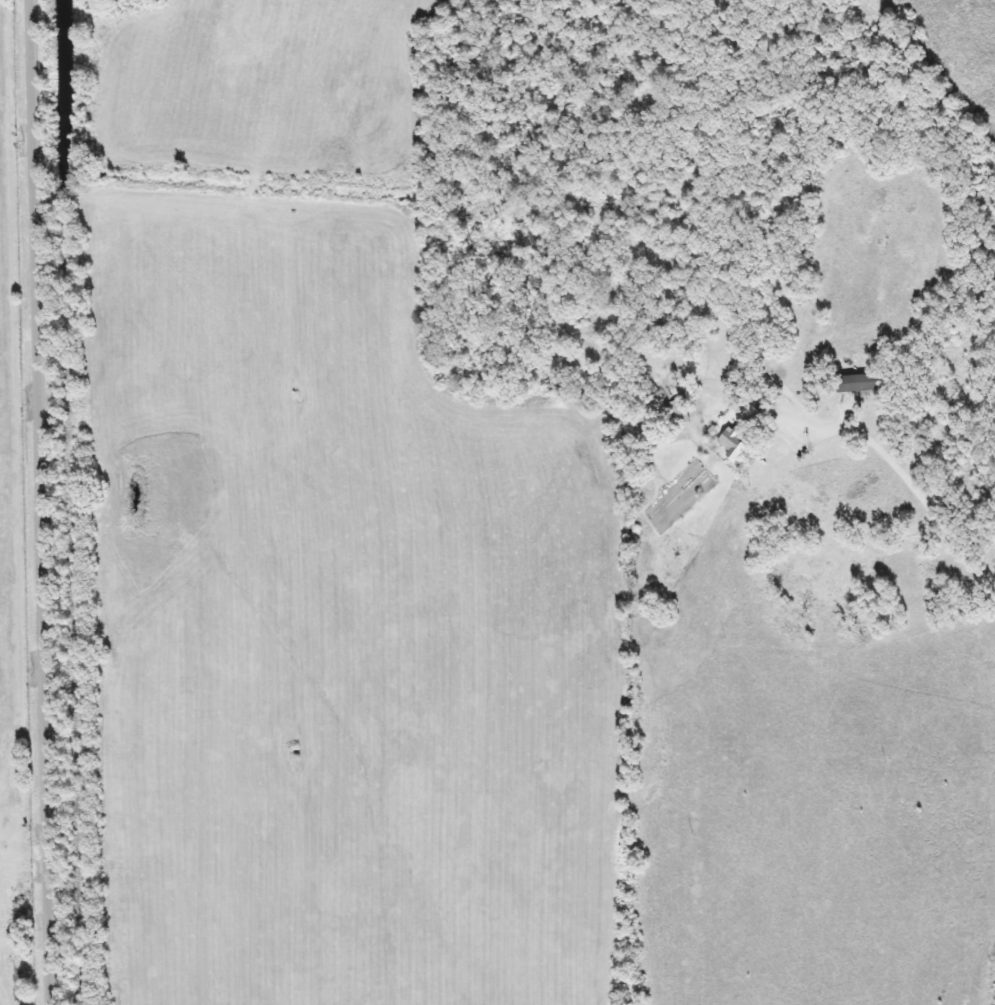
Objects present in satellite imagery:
building: (849, 383)
road: (43, 502)
road: (936, 510)

